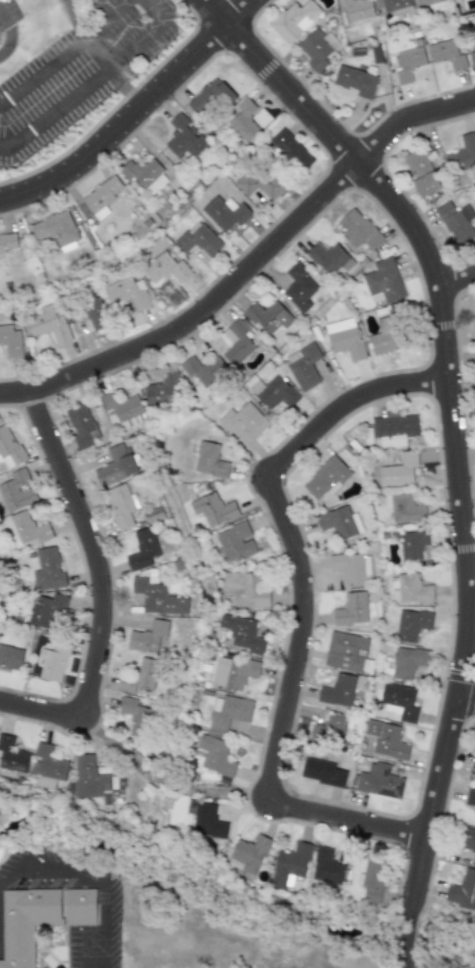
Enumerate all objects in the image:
building: (426, 2)
building: (392, 6)
building: (356, 9)
building: (294, 20)
road: (103, 22)
road: (7, 34)
building: (473, 42)
building: (317, 48)
building: (446, 53)
road: (57, 59)
building: (408, 64)
road: (93, 81)
building: (355, 81)
road: (124, 88)
building: (211, 97)
road: (135, 113)
building: (244, 121)
building: (184, 140)
building: (291, 150)
building: (462, 153)
building: (421, 172)
building: (145, 175)
building: (260, 183)
building: (101, 197)
building: (225, 212)
building: (454, 223)
building: (54, 229)
building: (358, 229)
building: (199, 239)
building: (7, 242)
building: (328, 258)
road: (249, 266)
building: (165, 268)
road: (458, 280)
building: (383, 282)
building: (299, 287)
building: (127, 292)
building: (95, 313)
building: (267, 316)
building: (48, 323)
building: (474, 325)
building: (385, 336)
building: (344, 338)
building: (10, 341)
building: (238, 342)
building: (303, 365)
building: (198, 371)
building: (162, 389)
building: (271, 392)
building: (243, 420)
building: (79, 425)
building: (394, 429)
road: (454, 442)
building: (8, 448)
building: (209, 460)
building: (115, 465)
building: (400, 471)
building: (325, 478)
building: (16, 490)
building: (120, 504)
building: (406, 508)
building: (213, 509)
building: (339, 522)
building: (28, 528)
building: (234, 542)
building: (413, 544)
building: (141, 550)
building: (351, 568)
building: (47, 569)
road: (103, 587)
building: (244, 589)
building: (413, 589)
building: (157, 597)
building: (45, 609)
building: (351, 609)
road: (302, 610)
building: (413, 625)
building: (240, 633)
building: (147, 637)
building: (346, 652)
building: (10, 658)
building: (52, 662)
building: (408, 662)
building: (232, 672)
building: (140, 676)
building: (339, 691)
building: (400, 700)
road: (466, 702)
building: (227, 711)
building: (134, 716)
building: (333, 728)
building: (387, 741)
building: (213, 755)
building: (12, 757)
building: (47, 763)
building: (473, 768)
building: (93, 780)
road: (164, 782)
building: (379, 782)
building: (470, 798)
building: (474, 818)
building: (205, 820)
building: (467, 841)
building: (247, 855)
building: (289, 865)
building: (325, 866)
road: (73, 871)
building: (371, 879)
building: (462, 890)
building: (41, 916)
road: (98, 947)

